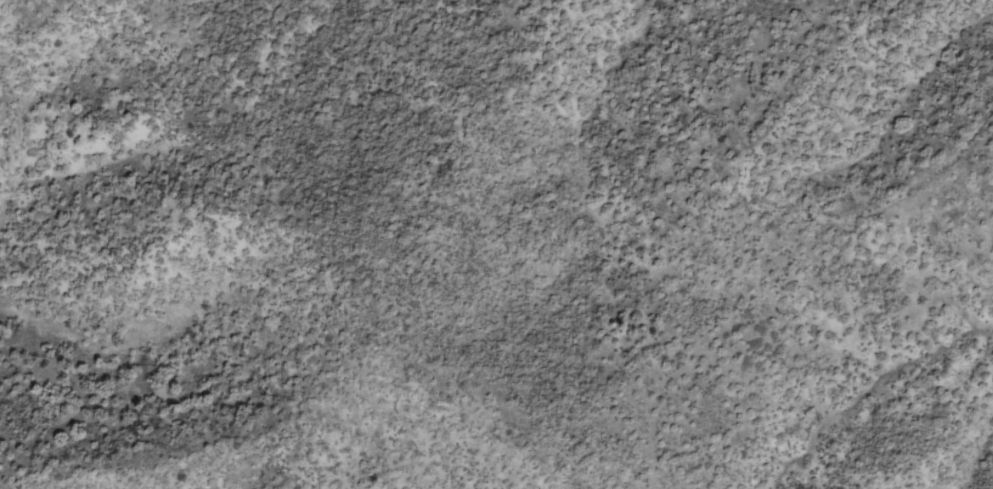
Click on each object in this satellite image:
road: (774, 207)

